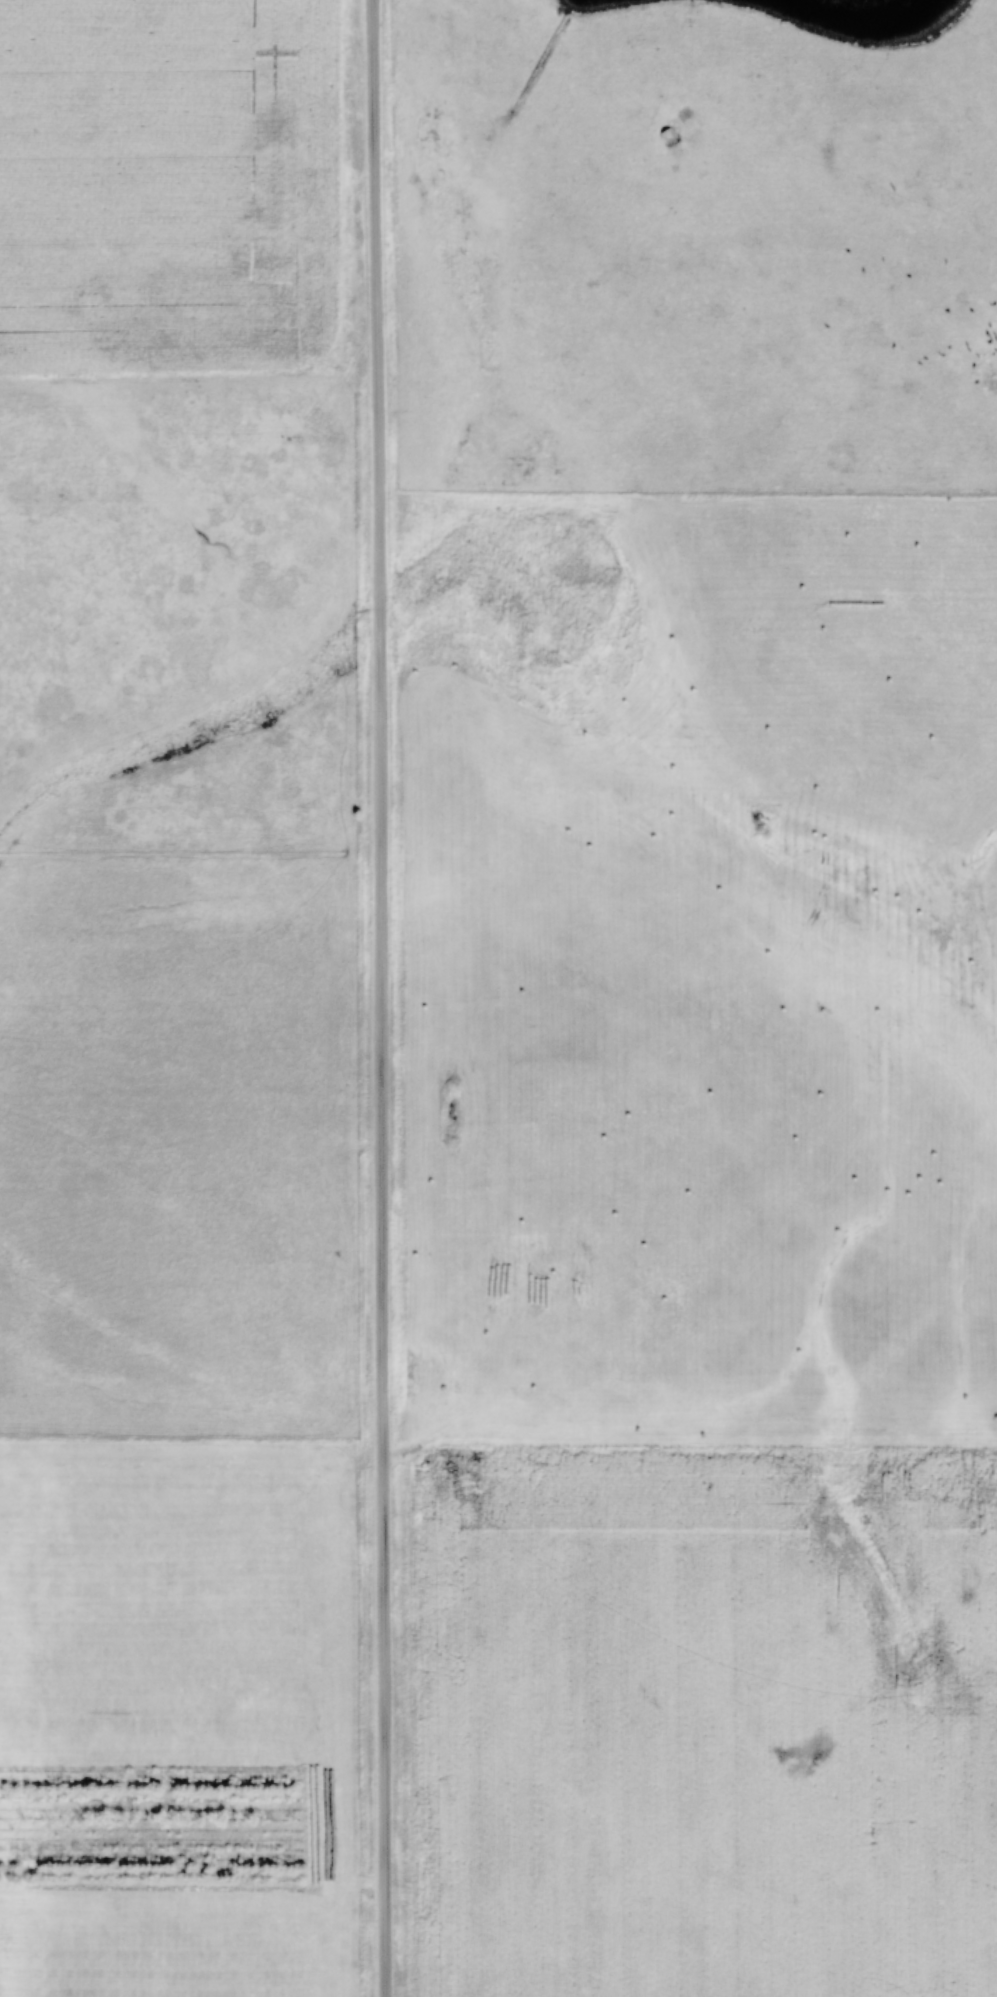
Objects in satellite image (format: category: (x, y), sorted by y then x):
road: (379, 998)

